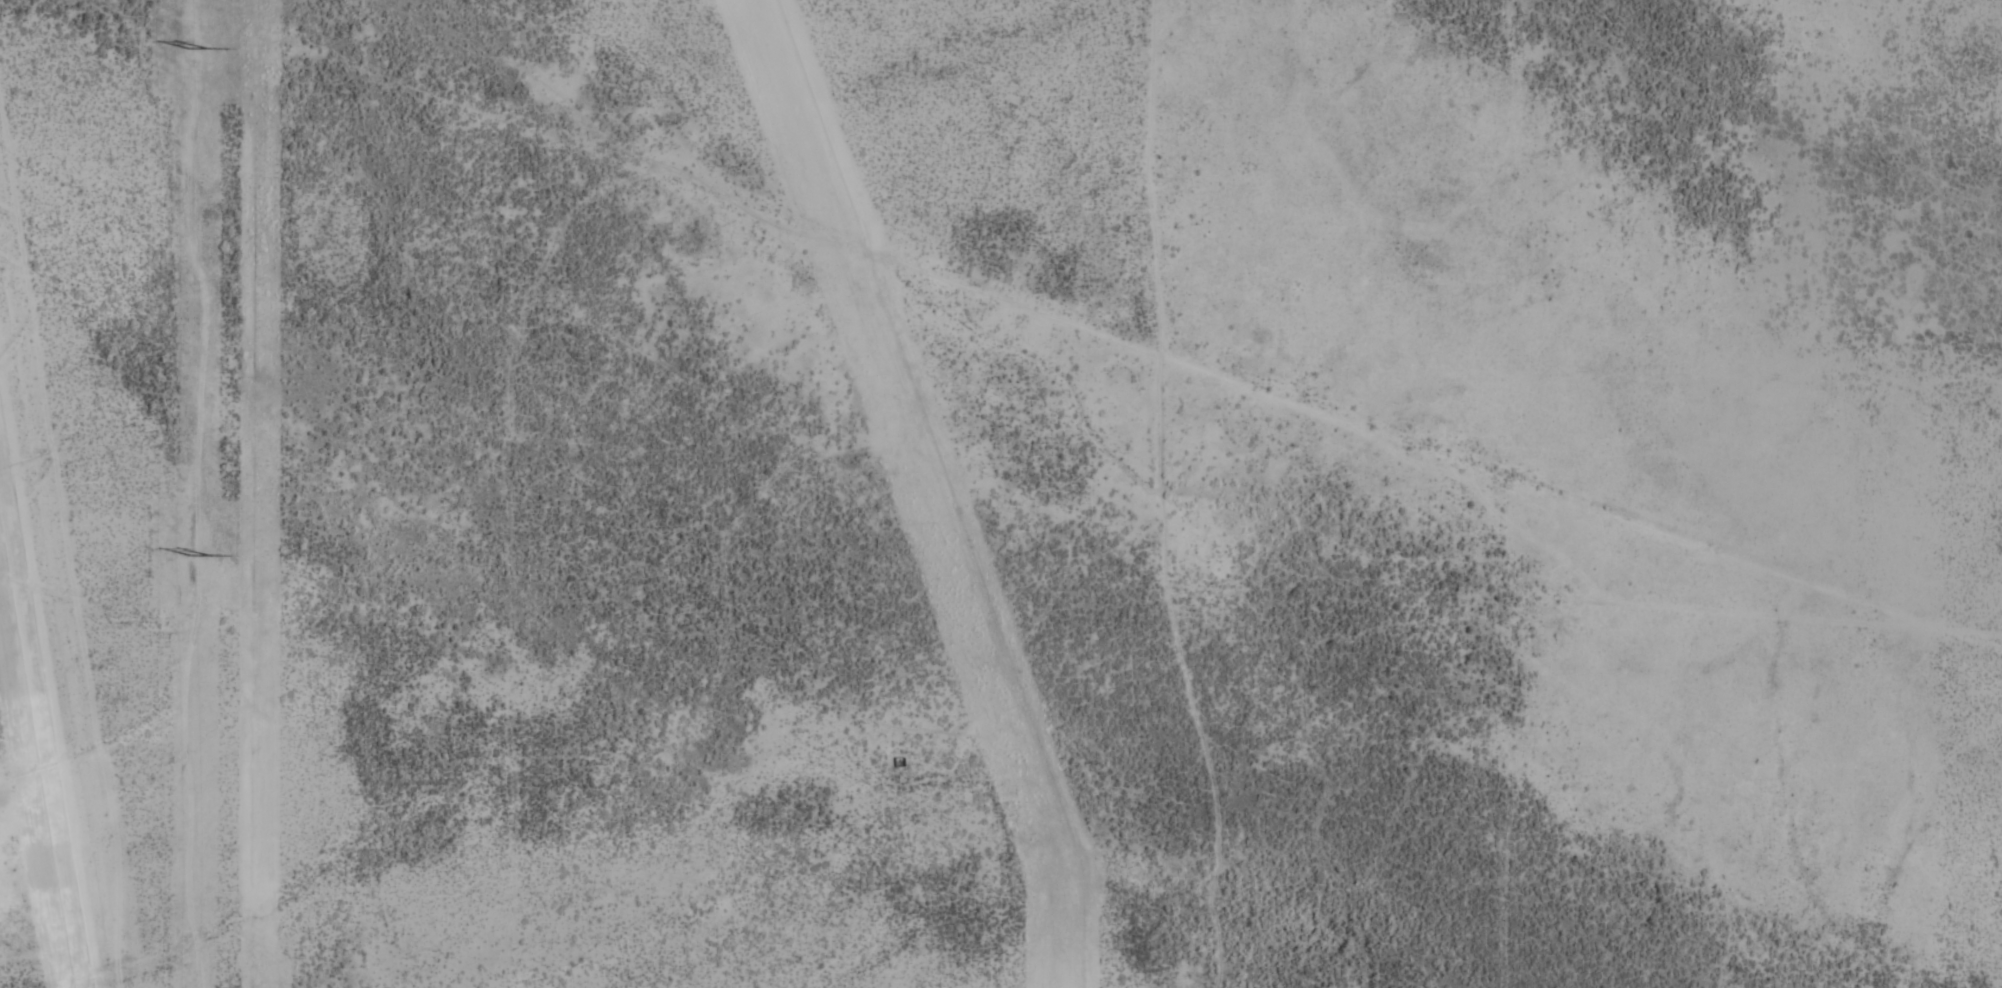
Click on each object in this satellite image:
power tower: (189, 46)
power tower: (189, 555)
road: (5, 934)

